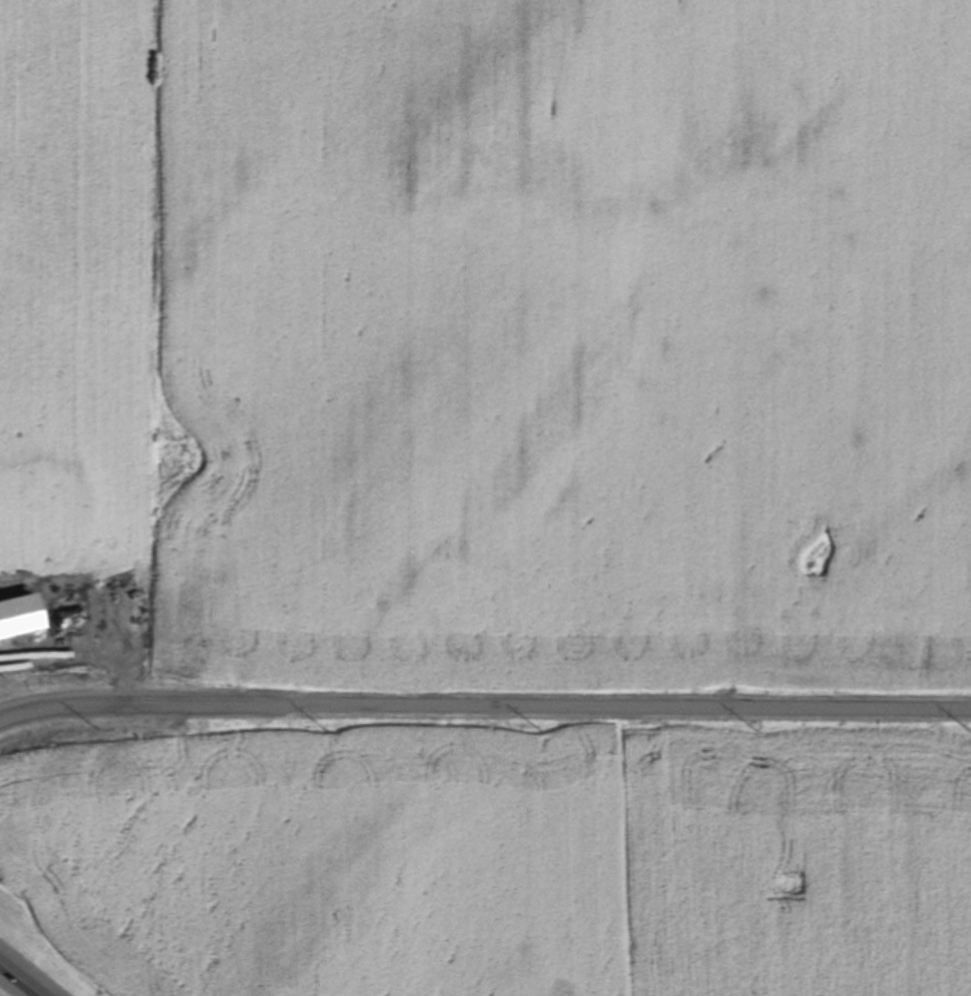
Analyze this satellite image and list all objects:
road: (484, 705)
road: (19, 981)

